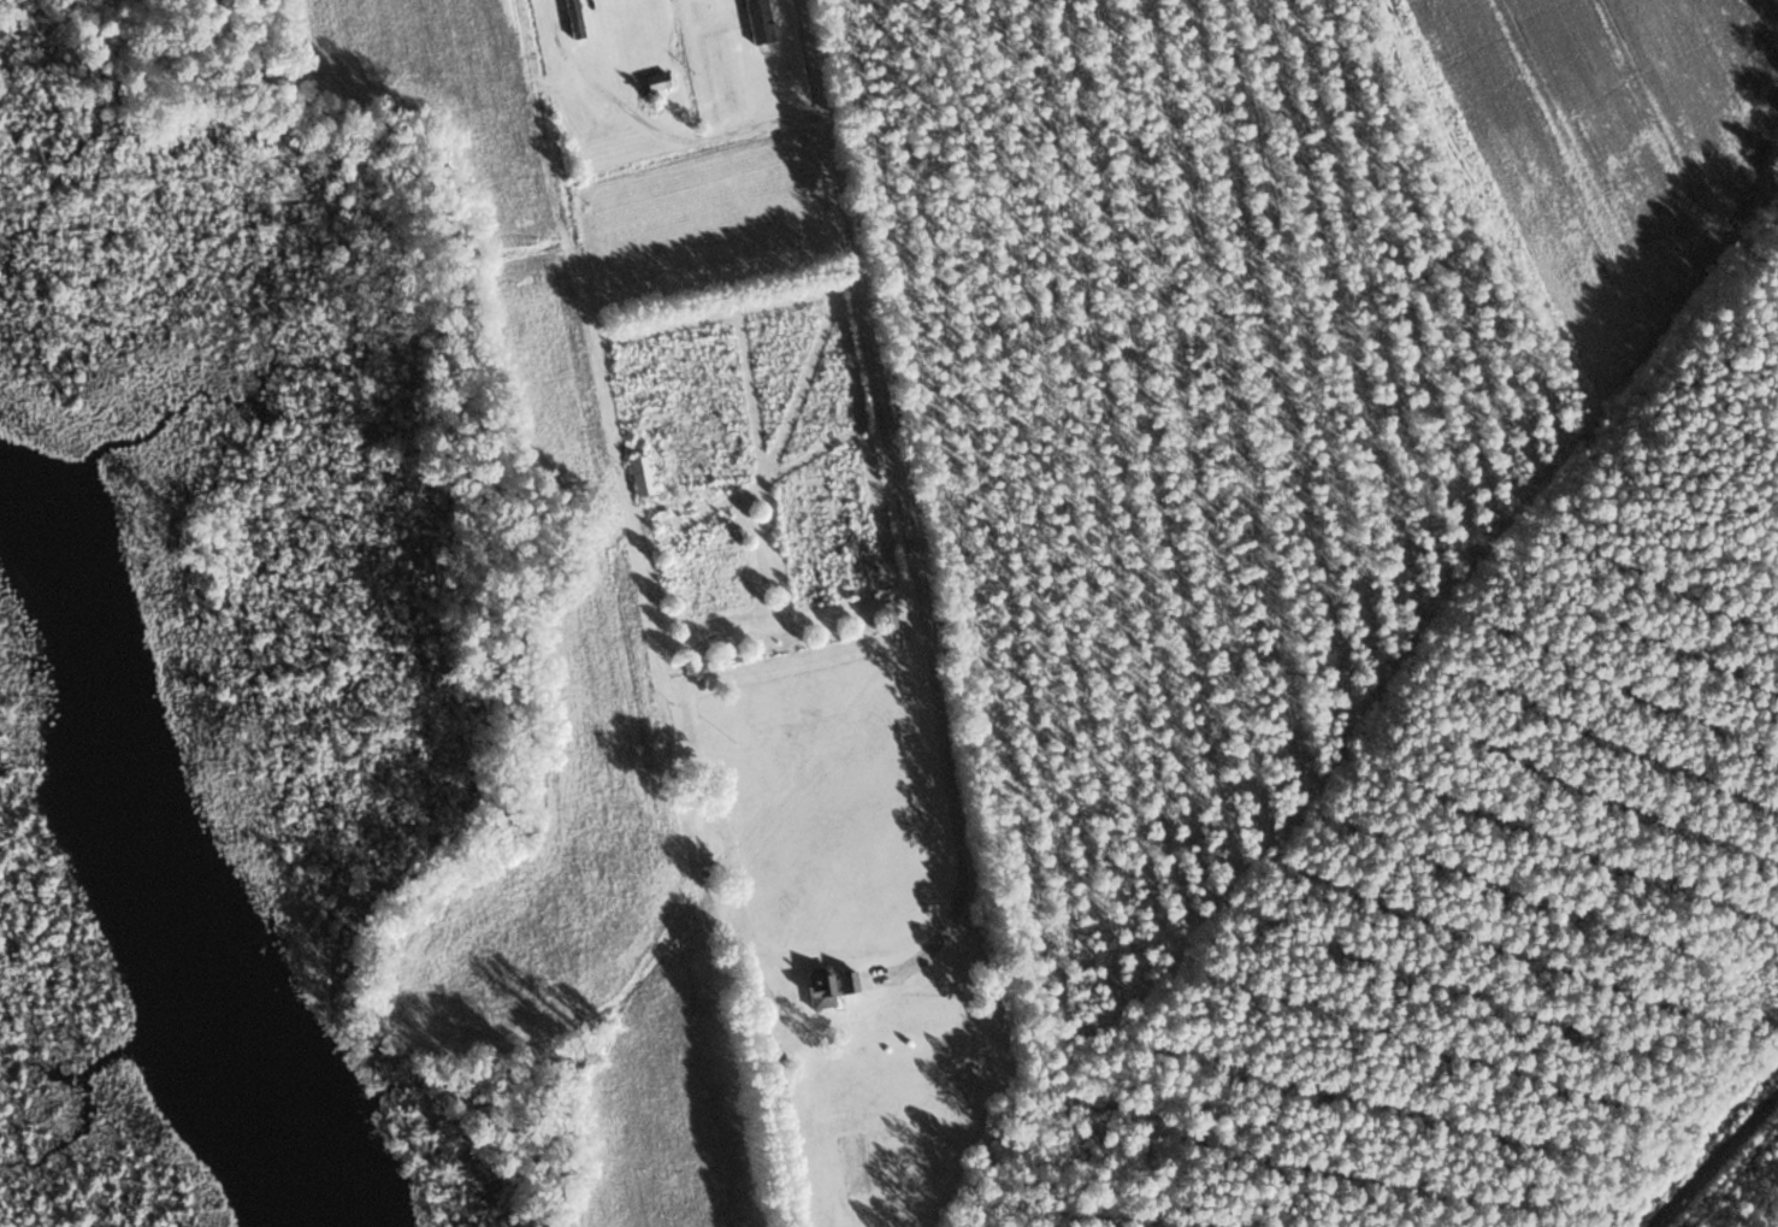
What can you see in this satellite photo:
building: (573, 18)
building: (656, 82)
road: (587, 342)
building: (640, 476)
building: (715, 579)
building: (849, 980)
building: (819, 989)
road: (1717, 1161)

